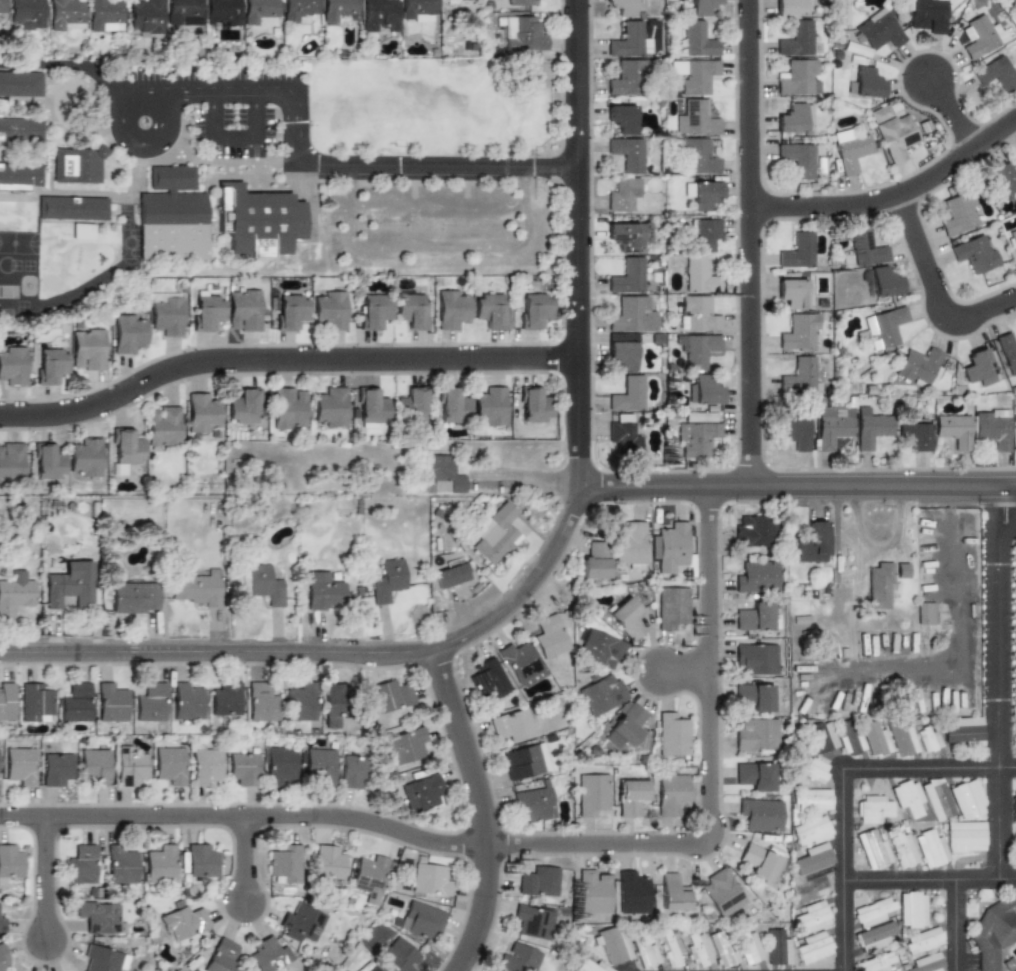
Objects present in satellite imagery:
building: (451, 0)
building: (519, 2)
building: (1, 5)
building: (622, 7)
building: (700, 7)
building: (792, 7)
building: (298, 9)
building: (336, 9)
building: (418, 9)
building: (258, 11)
building: (183, 12)
building: (26, 13)
building: (103, 13)
building: (223, 13)
building: (66, 15)
building: (380, 15)
building: (926, 15)
building: (145, 16)
building: (878, 29)
building: (525, 35)
building: (979, 36)
building: (697, 38)
building: (797, 39)
building: (629, 40)
road: (71, 64)
building: (696, 75)
building: (993, 75)
building: (626, 77)
building: (798, 77)
building: (866, 82)
building: (20, 83)
road: (144, 94)
road: (953, 116)
building: (621, 117)
building: (695, 118)
building: (795, 118)
building: (21, 129)
building: (893, 132)
road: (232, 138)
building: (852, 152)
building: (628, 153)
building: (1014, 155)
building: (700, 156)
building: (797, 157)
building: (77, 164)
road: (336, 164)
building: (19, 175)
building: (1003, 179)
building: (703, 194)
road: (894, 194)
building: (624, 195)
road: (437, 201)
building: (72, 207)
building: (960, 212)
building: (171, 215)
building: (258, 220)
building: (82, 231)
building: (704, 235)
building: (628, 236)
building: (1012, 238)
road: (751, 242)
road: (579, 243)
building: (866, 247)
building: (796, 250)
road: (434, 252)
building: (975, 253)
building: (695, 274)
building: (627, 276)
building: (884, 281)
road: (934, 287)
building: (794, 292)
building: (452, 307)
building: (330, 309)
building: (411, 309)
building: (490, 309)
building: (535, 309)
building: (206, 310)
building: (244, 310)
building: (290, 310)
building: (373, 310)
building: (166, 313)
building: (697, 314)
building: (633, 315)
building: (884, 327)
building: (128, 332)
building: (800, 332)
building: (87, 349)
building: (697, 349)
building: (1007, 352)
building: (622, 354)
road: (323, 359)
building: (12, 365)
building: (50, 365)
building: (919, 365)
building: (978, 367)
road: (313, 372)
building: (801, 374)
building: (703, 390)
building: (628, 394)
building: (413, 404)
building: (452, 405)
building: (244, 406)
building: (331, 406)
building: (371, 406)
building: (491, 406)
building: (535, 406)
building: (289, 408)
building: (202, 413)
road: (39, 415)
building: (831, 425)
building: (164, 426)
building: (871, 428)
building: (993, 428)
building: (954, 430)
building: (794, 432)
building: (914, 435)
building: (625, 436)
building: (696, 438)
building: (125, 448)
building: (86, 457)
building: (11, 461)
building: (48, 462)
building: (441, 474)
road: (529, 476)
road: (983, 484)
road: (765, 485)
building: (754, 530)
building: (496, 533)
building: (812, 542)
building: (630, 545)
road: (877, 547)
building: (670, 548)
building: (596, 560)
building: (902, 570)
building: (450, 575)
building: (758, 577)
building: (388, 580)
building: (265, 584)
building: (879, 585)
building: (197, 586)
building: (67, 589)
building: (323, 591)
building: (14, 594)
building: (133, 597)
building: (672, 607)
building: (926, 613)
building: (756, 617)
building: (625, 618)
road: (957, 632)
building: (549, 636)
road: (77, 639)
building: (599, 647)
road: (331, 654)
building: (756, 656)
building: (520, 663)
road: (686, 669)
building: (487, 679)
road: (999, 681)
building: (602, 694)
building: (390, 695)
building: (754, 696)
building: (186, 699)
building: (334, 699)
building: (6, 700)
building: (225, 700)
building: (73, 701)
building: (261, 701)
building: (301, 701)
building: (34, 702)
building: (110, 702)
building: (149, 702)
building: (512, 725)
building: (624, 725)
building: (964, 732)
building: (756, 734)
building: (672, 735)
building: (1015, 735)
building: (821, 737)
building: (901, 738)
building: (849, 739)
building: (874, 739)
building: (927, 739)
building: (406, 746)
building: (526, 760)
building: (169, 764)
building: (280, 764)
building: (320, 764)
building: (20, 765)
building: (206, 766)
building: (95, 767)
building: (129, 767)
building: (55, 768)
building: (243, 768)
road: (456, 768)
road: (931, 769)
building: (813, 770)
building: (355, 773)
building: (755, 775)
building: (420, 792)
building: (591, 793)
building: (672, 793)
building: (630, 796)
building: (907, 798)
building: (811, 799)
building: (936, 799)
building: (966, 799)
building: (534, 800)
building: (1013, 807)
road: (480, 809)
building: (873, 809)
building: (761, 814)
building: (811, 831)
building: (965, 836)
road: (526, 847)
building: (930, 849)
building: (873, 850)
building: (903, 850)
building: (812, 859)
building: (201, 860)
building: (10, 861)
road: (243, 861)
building: (286, 862)
building: (329, 862)
building: (761, 863)
building: (81, 864)
building: (120, 864)
building: (160, 864)
road: (847, 869)
building: (369, 877)
road: (932, 879)
road: (45, 880)
building: (539, 881)
building: (430, 882)
building: (812, 886)
building: (594, 890)
building: (632, 891)
building: (672, 892)
building: (722, 892)
building: (911, 910)
building: (872, 912)
building: (99, 916)
building: (811, 917)
building: (183, 920)
building: (419, 920)
building: (532, 921)
building: (2, 922)
building: (301, 923)
road: (958, 925)
building: (994, 931)
building: (874, 936)
building: (922, 941)
building: (613, 946)
building: (671, 947)
building: (749, 947)
building: (813, 947)
building: (777, 948)
building: (721, 949)
building: (697, 950)
building: (645, 953)
building: (269, 954)
building: (222, 956)
building: (398, 956)
building: (518, 958)
building: (102, 959)
building: (1001, 959)
building: (3, 960)
building: (876, 963)
building: (927, 963)
building: (591, 966)
building: (370, 967)

